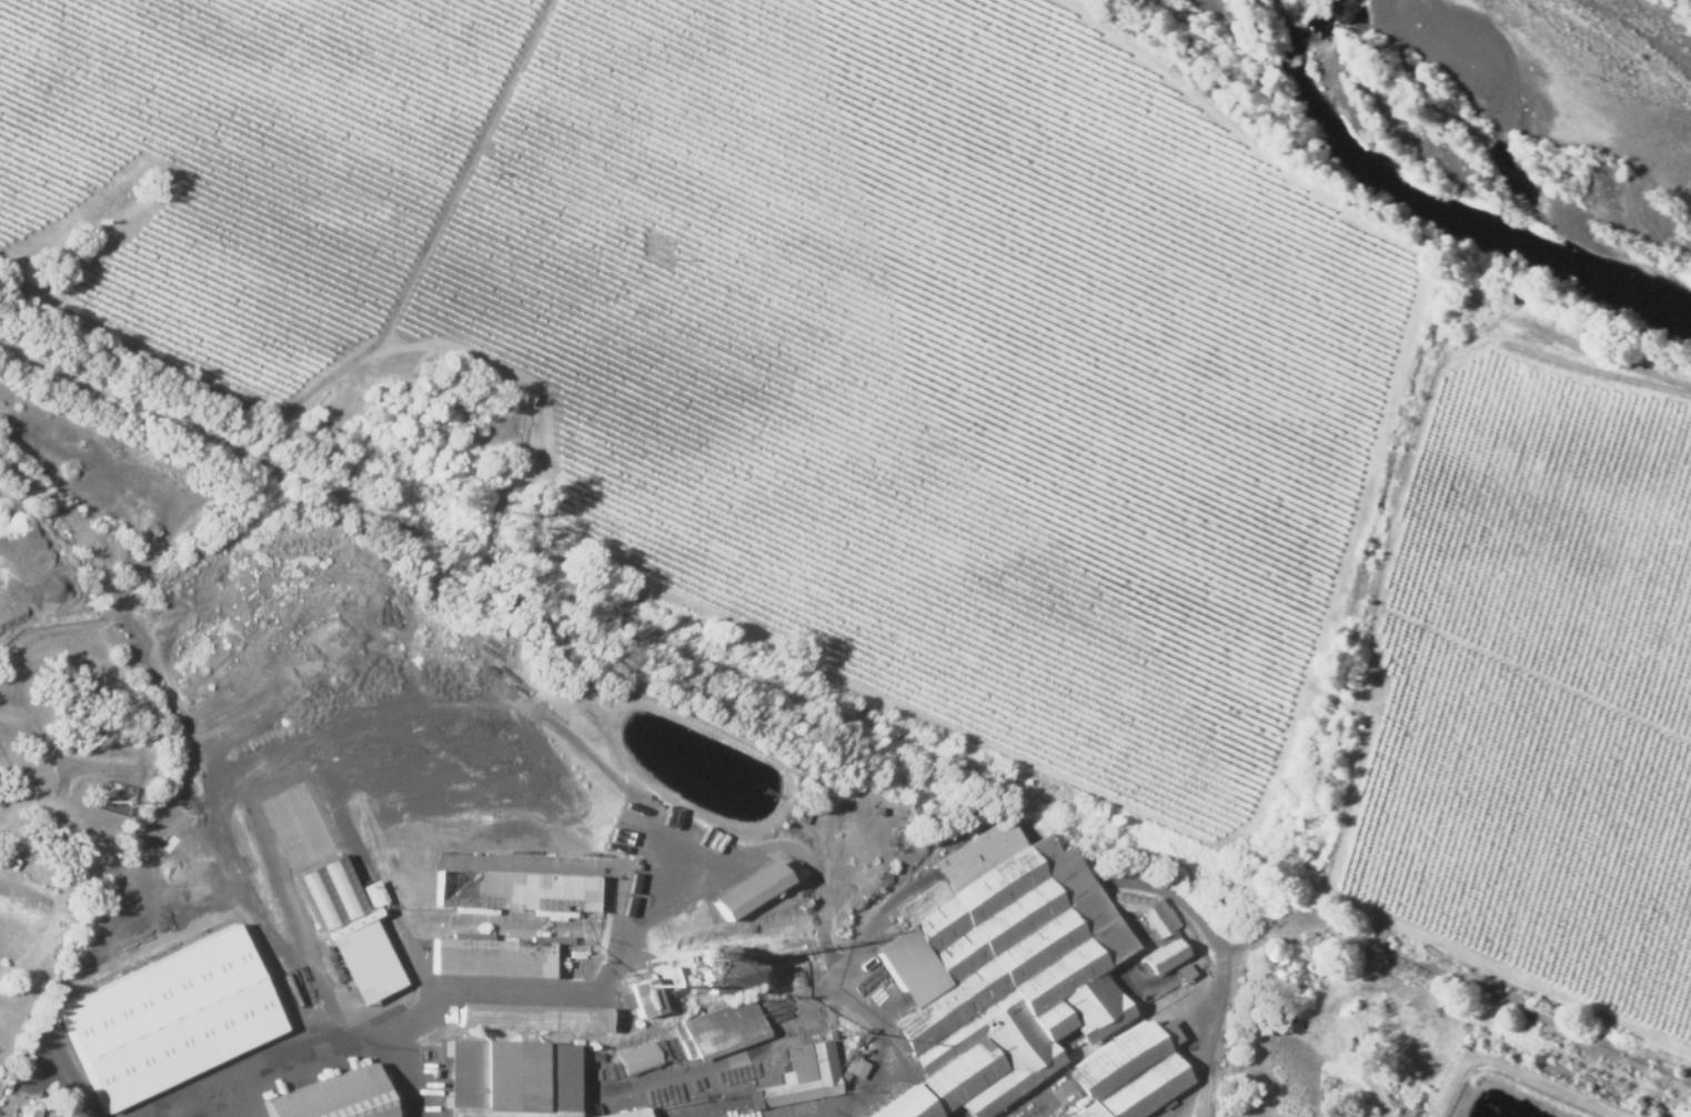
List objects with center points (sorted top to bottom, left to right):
river: (1449, 199)
road: (1625, 363)
railway: (844, 716)
road: (242, 794)
building: (520, 893)
building: (744, 894)
building: (332, 898)
building: (1149, 912)
building: (1165, 955)
building: (493, 963)
building: (1003, 969)
building: (637, 996)
building: (171, 1020)
building: (530, 1023)
building: (719, 1028)
building: (638, 1057)
building: (855, 1067)
building: (1130, 1074)
building: (798, 1076)
building: (512, 1085)
building: (332, 1100)
building: (27, 1109)
building: (623, 1113)

